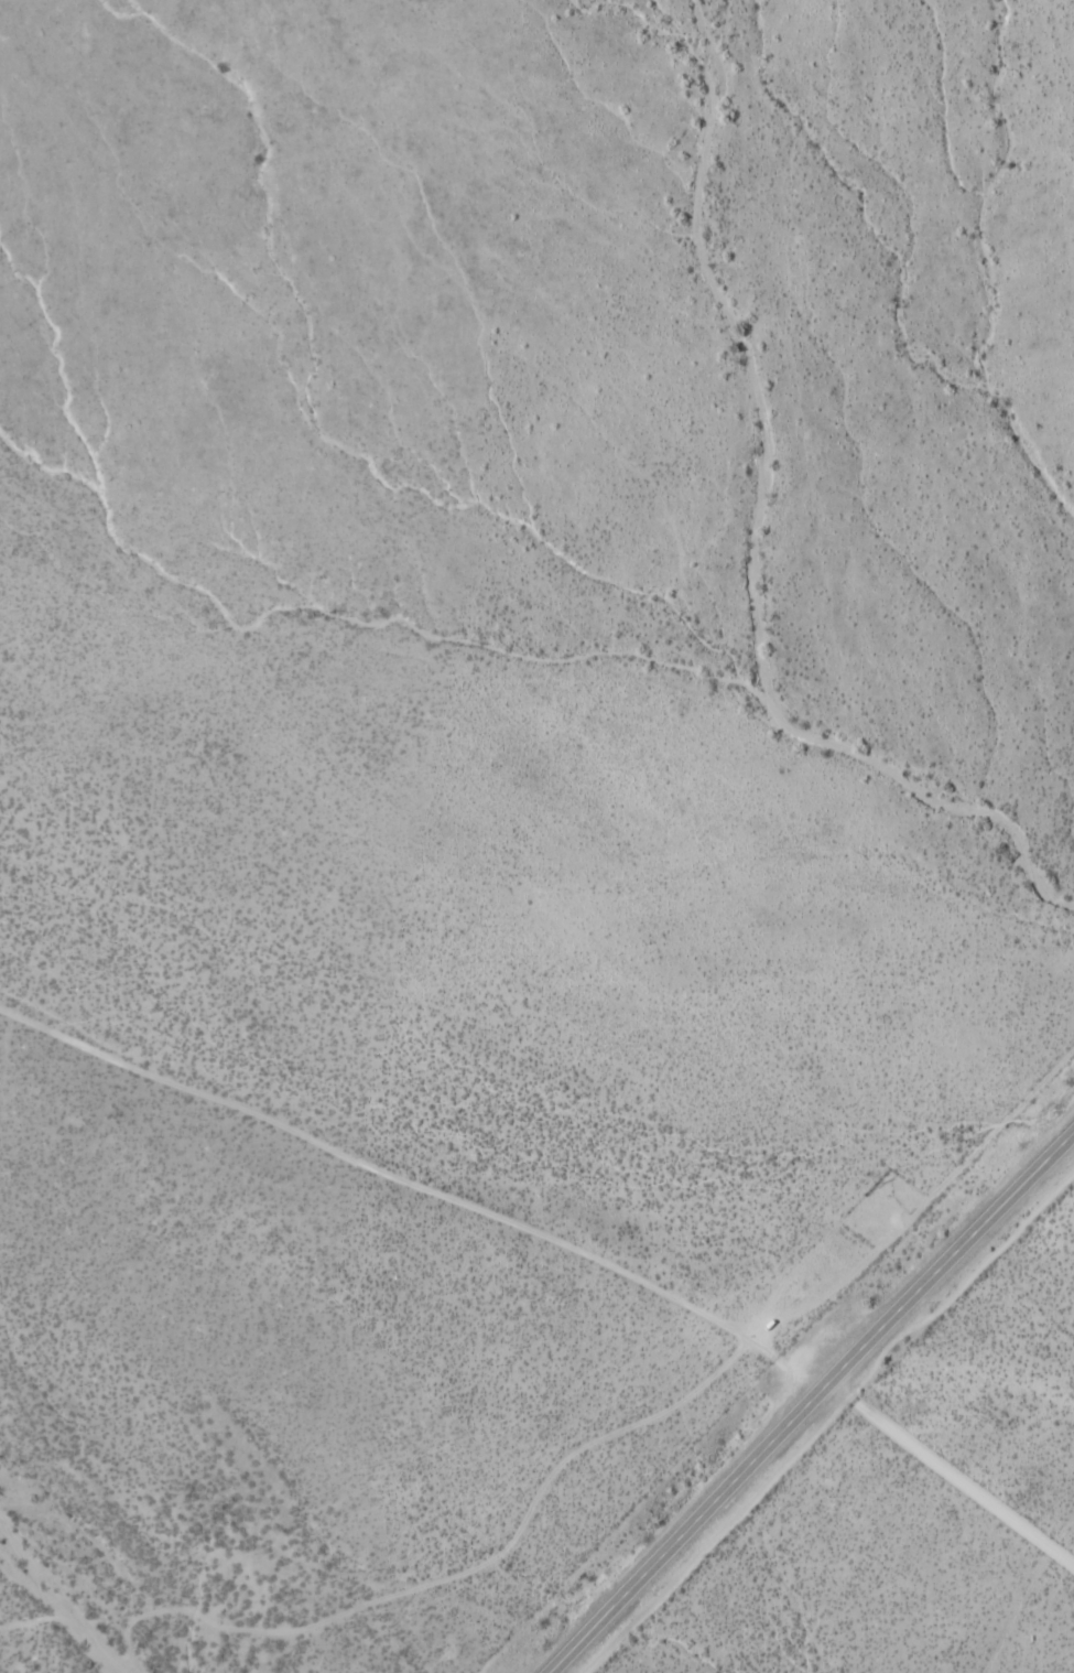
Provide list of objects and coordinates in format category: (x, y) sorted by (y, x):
road: (415, 1185)
road: (911, 1213)
road: (809, 1397)
road: (950, 1472)
road: (477, 1567)
road: (84, 1628)

